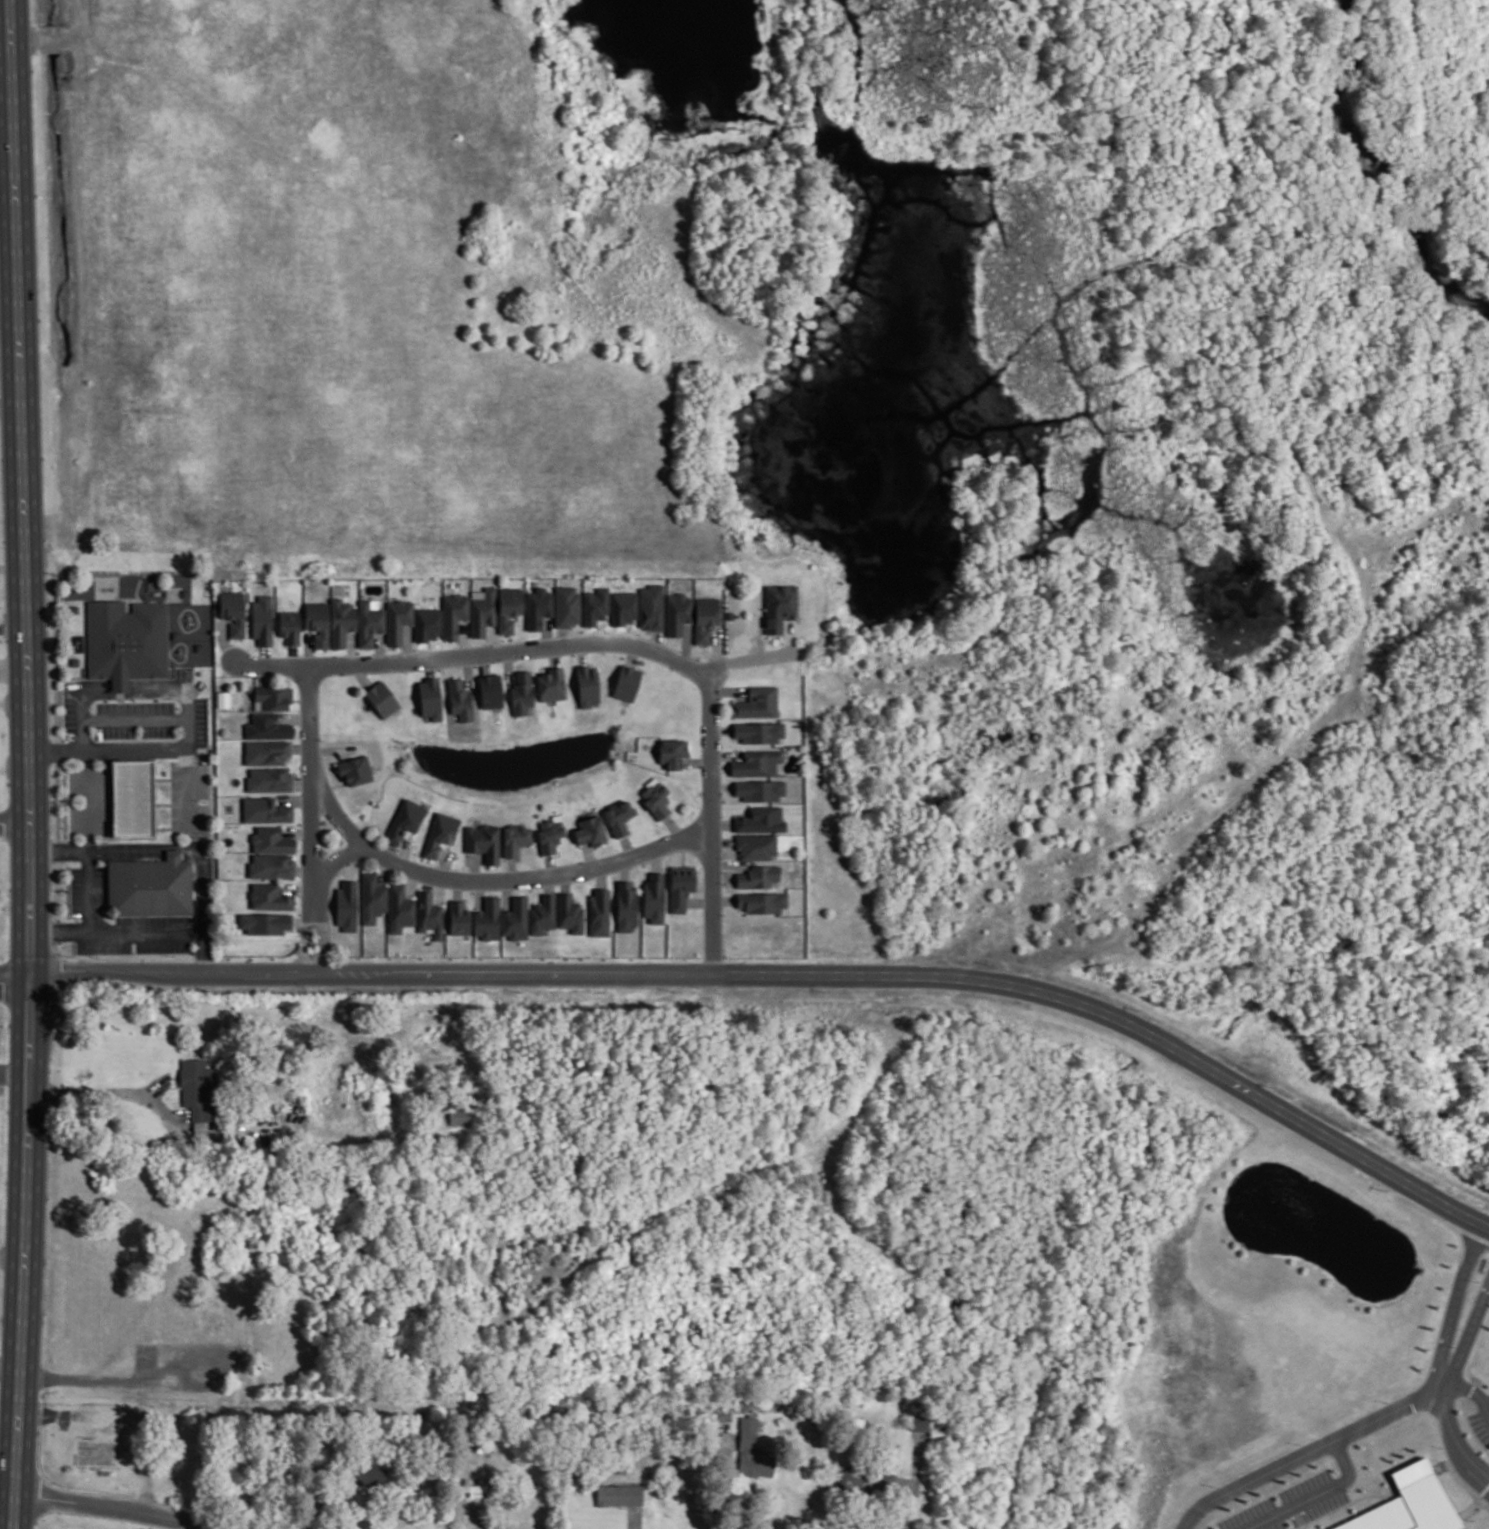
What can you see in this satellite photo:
road: (6, 74)
road: (7, 126)
building: (566, 605)
building: (595, 605)
building: (779, 606)
building: (538, 607)
building: (623, 607)
building: (651, 607)
building: (509, 608)
building: (482, 610)
building: (233, 612)
building: (678, 613)
building: (453, 614)
building: (705, 618)
building: (262, 619)
building: (383, 620)
building: (341, 621)
building: (317, 623)
building: (427, 624)
building: (289, 626)
road: (14, 628)
building: (176, 634)
building: (126, 641)
building: (199, 646)
road: (472, 659)
road: (14, 668)
building: (626, 683)
building: (551, 684)
road: (119, 685)
building: (587, 685)
building: (490, 691)
building: (521, 693)
flagpole: (120, 697)
road: (185, 697)
building: (272, 698)
building: (430, 698)
building: (223, 699)
building: (382, 699)
building: (460, 700)
building: (758, 702)
road: (81, 708)
road: (294, 717)
road: (134, 720)
building: (267, 726)
building: (759, 731)
road: (104, 749)
street lamp: (202, 751)
building: (266, 752)
building: (672, 752)
building: (757, 763)
road: (31, 764)
building: (355, 770)
building: (269, 779)
road: (302, 782)
building: (760, 789)
building: (131, 797)
building: (655, 798)
road: (88, 799)
building: (265, 810)
building: (618, 817)
road: (312, 820)
building: (405, 820)
building: (761, 820)
road: (15, 824)
building: (590, 831)
road: (702, 831)
building: (440, 833)
building: (549, 835)
street lamp: (100, 837)
building: (515, 839)
building: (271, 841)
building: (483, 842)
road: (157, 845)
building: (756, 846)
road: (330, 861)
building: (271, 866)
building: (758, 876)
building: (150, 886)
road: (494, 886)
building: (681, 886)
road: (88, 889)
building: (270, 896)
building: (373, 898)
building: (654, 899)
building: (763, 902)
building: (347, 906)
building: (626, 906)
building: (400, 908)
building: (599, 911)
building: (570, 913)
building: (543, 914)
building: (430, 915)
building: (459, 918)
building: (487, 919)
building: (516, 919)
building: (265, 923)
road: (73, 929)
road: (179, 933)
road: (790, 981)
road: (16, 982)
street lamp: (304, 985)
road: (15, 1071)
building: (198, 1091)
building: (462, 1116)
road: (1450, 1302)
road: (1467, 1334)
road: (10, 1366)
road: (1430, 1388)
road: (1470, 1398)
parking lot: (1480, 1426)
road: (1451, 1445)
building: (752, 1452)
road: (1298, 1460)
building: (866, 1480)
road: (8, 1482)
building: (476, 1489)
road: (718, 1489)
building: (619, 1494)
road: (1317, 1497)
building: (1413, 1502)
road: (113, 1508)
parking lot: (1291, 1508)

